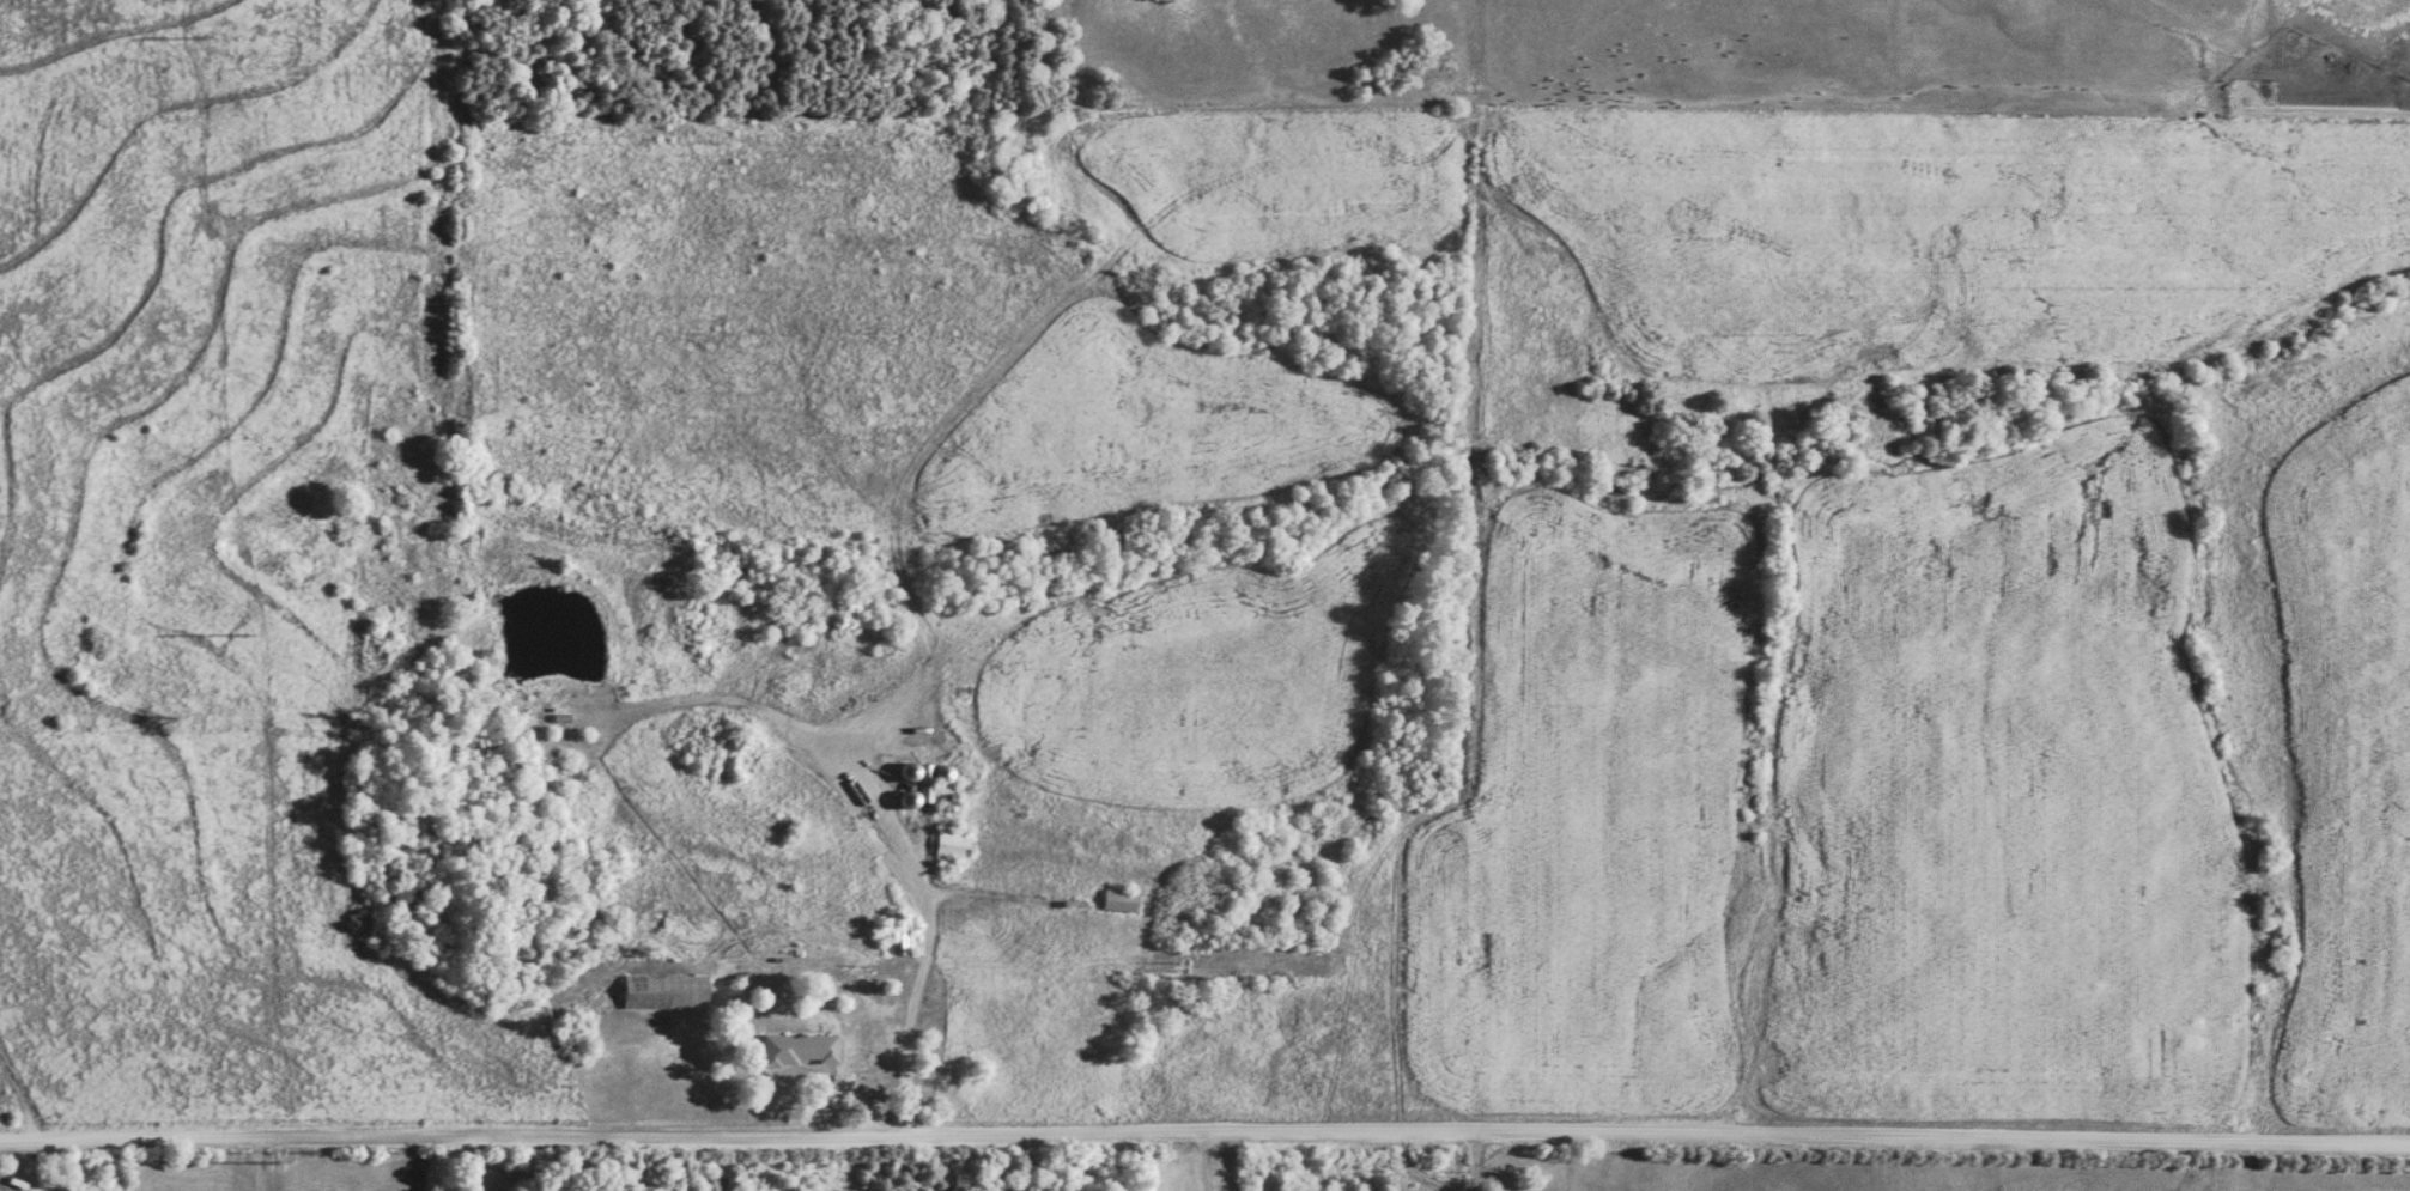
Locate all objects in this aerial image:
building: (949, 845)
building: (1119, 901)
road: (928, 952)
building: (661, 992)
building: (794, 1050)
road: (775, 1072)
road: (18, 1099)
road: (1204, 1130)
road: (1477, 1159)
road: (449, 1161)
road: (1203, 1161)

